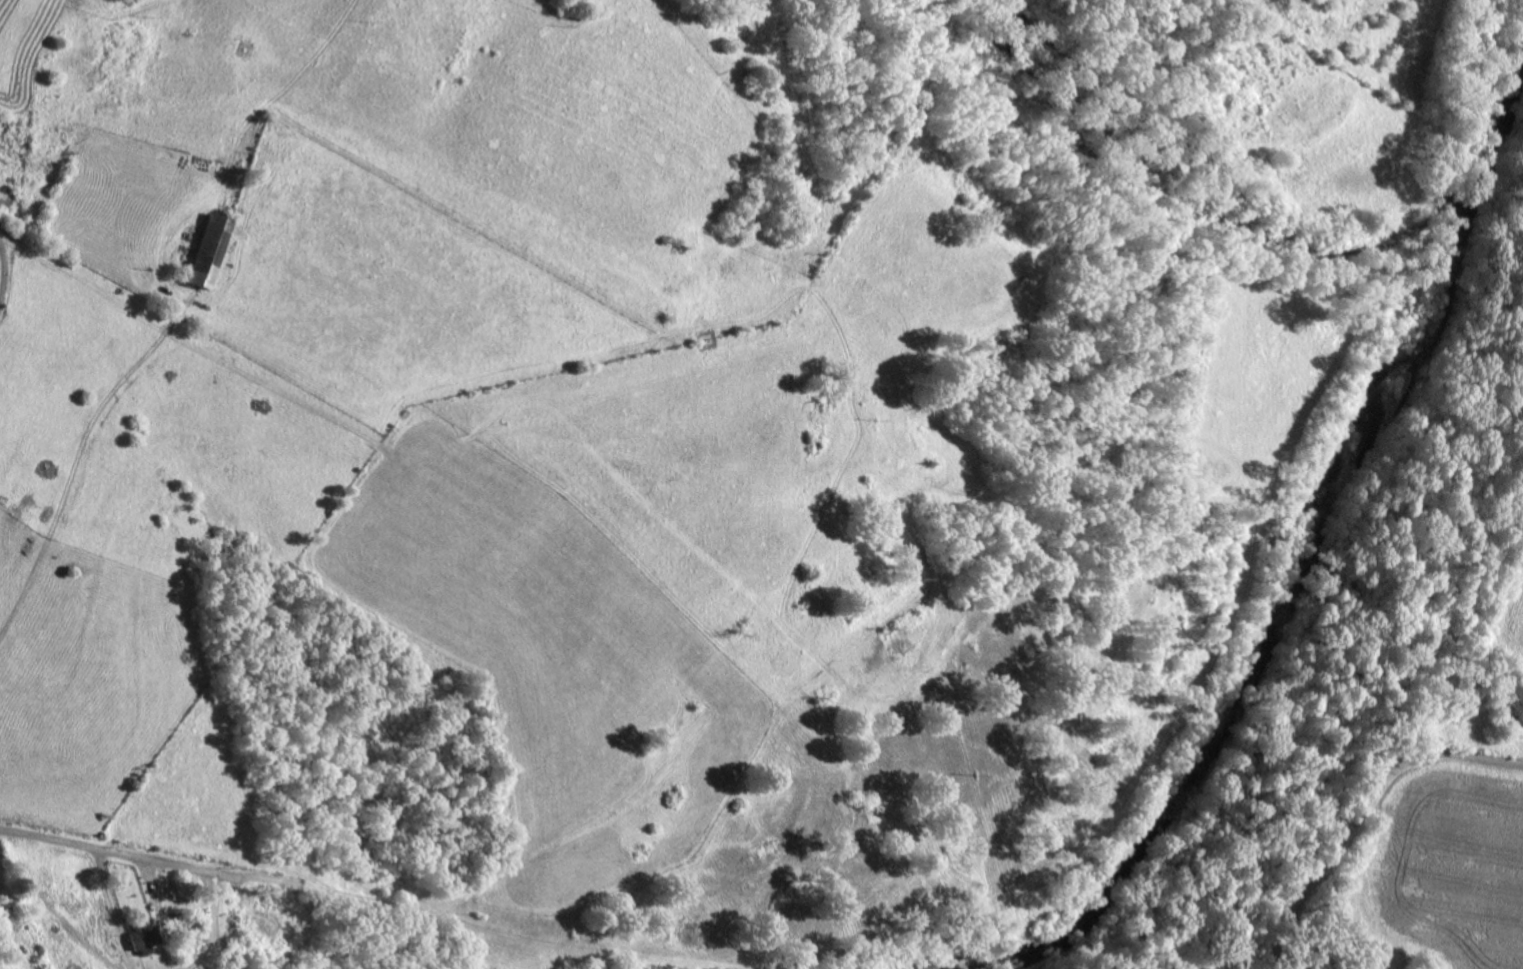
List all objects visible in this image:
building: (206, 248)
road: (3, 271)
road: (1363, 811)
road: (147, 860)
road: (81, 893)
building: (140, 937)
road: (590, 945)

